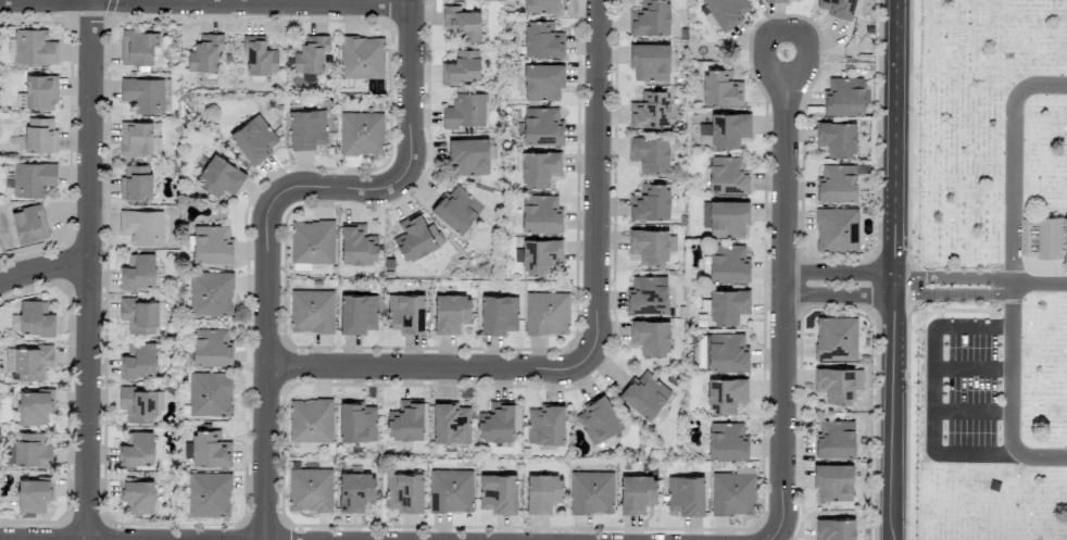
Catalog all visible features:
building: (783, 0)
road: (98, 1)
road: (206, 2)
building: (541, 7)
building: (838, 8)
building: (727, 11)
building: (650, 17)
building: (462, 23)
building: (542, 39)
building: (138, 47)
building: (34, 48)
road: (764, 52)
road: (804, 52)
building: (205, 53)
building: (259, 55)
building: (311, 56)
building: (362, 58)
building: (650, 61)
building: (461, 67)
building: (543, 81)
building: (720, 88)
building: (40, 91)
building: (143, 93)
building: (166, 96)
building: (843, 97)
building: (650, 110)
building: (465, 111)
building: (541, 126)
building: (307, 129)
building: (725, 130)
building: (361, 133)
building: (40, 135)
building: (837, 138)
building: (136, 139)
building: (254, 139)
building: (649, 153)
building: (468, 156)
road: (1010, 163)
building: (539, 168)
building: (727, 175)
building: (219, 176)
building: (33, 178)
building: (136, 183)
road: (600, 183)
building: (837, 183)
building: (650, 202)
building: (456, 209)
road: (272, 212)
building: (540, 213)
building: (728, 218)
building: (29, 224)
building: (142, 226)
building: (837, 230)
building: (1044, 237)
building: (312, 241)
building: (211, 243)
building: (651, 244)
building: (357, 246)
building: (538, 255)
building: (728, 263)
road: (896, 269)
road: (90, 271)
park: (993, 271)
road: (45, 272)
building: (138, 273)
road: (842, 284)
road: (1038, 284)
road: (953, 285)
building: (211, 293)
building: (648, 294)
building: (726, 305)
road: (787, 307)
building: (312, 311)
building: (357, 313)
building: (405, 313)
building: (451, 313)
building: (547, 313)
building: (499, 314)
building: (138, 315)
building: (35, 317)
building: (650, 337)
building: (836, 339)
building: (211, 347)
building: (726, 352)
building: (28, 362)
building: (138, 362)
road: (430, 368)
road: (971, 368)
building: (838, 384)
road: (931, 390)
building: (209, 393)
building: (644, 394)
building: (726, 394)
road: (1010, 399)
building: (139, 403)
building: (34, 406)
road: (970, 412)
building: (598, 419)
building: (311, 420)
building: (405, 420)
building: (356, 423)
building: (451, 423)
building: (495, 423)
building: (545, 424)
building: (836, 439)
building: (727, 440)
building: (209, 449)
building: (32, 450)
building: (137, 450)
building: (833, 481)
building: (310, 490)
building: (450, 490)
building: (355, 491)
building: (404, 492)
building: (542, 492)
building: (591, 492)
building: (498, 493)
building: (637, 493)
building: (732, 493)
building: (33, 494)
building: (209, 494)
building: (686, 494)
building: (137, 495)
building: (834, 529)

